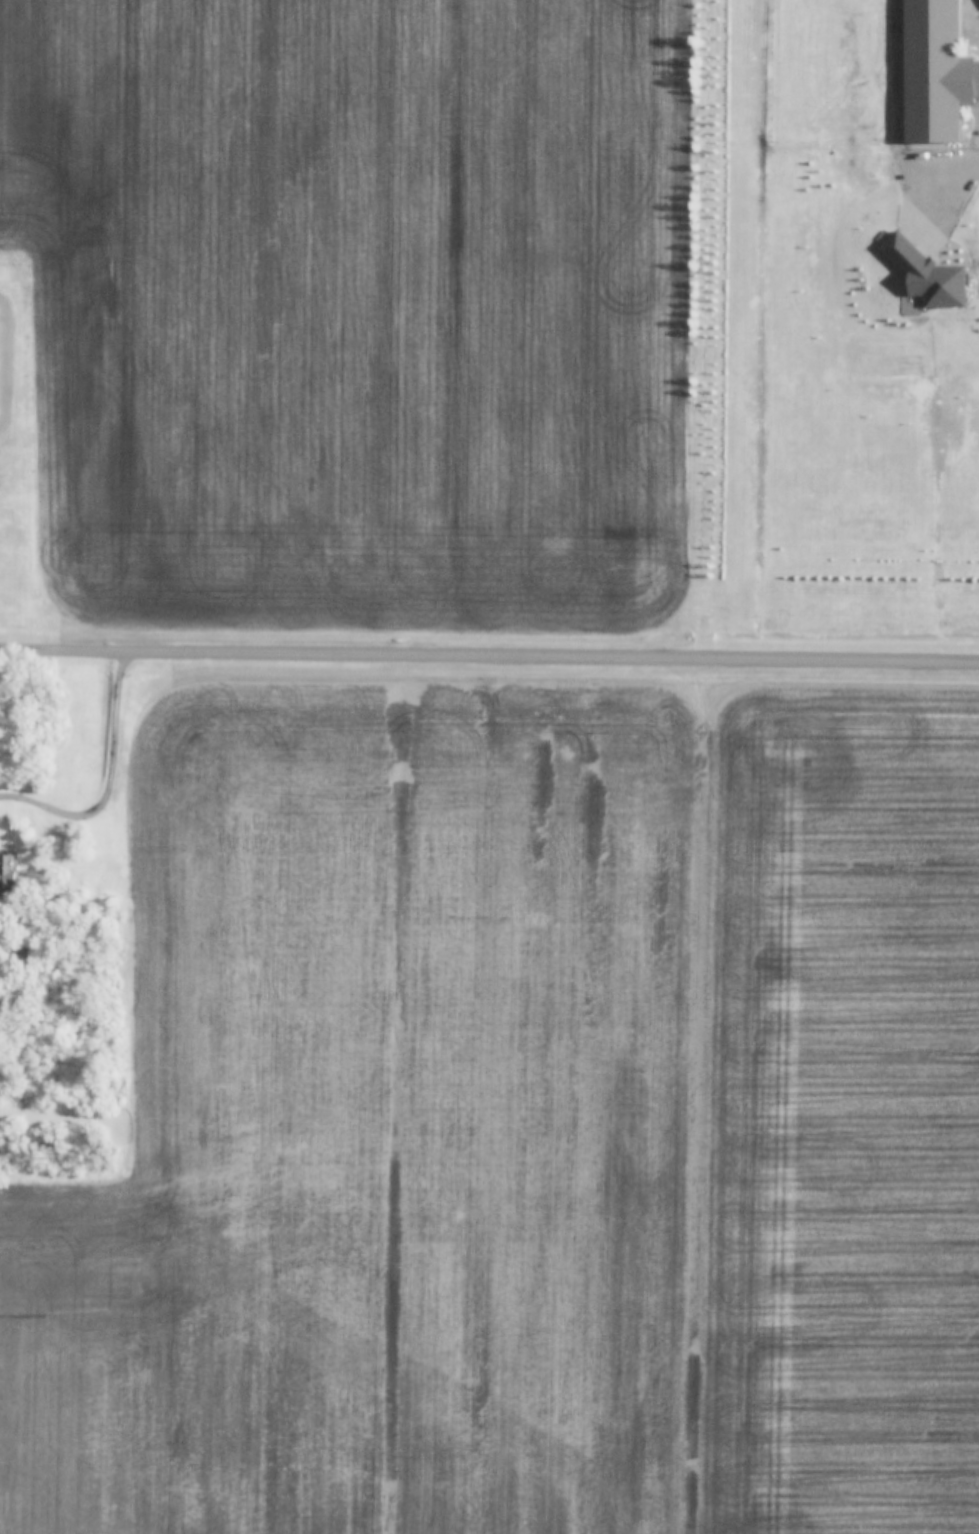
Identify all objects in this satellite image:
building: (937, 72)
road: (954, 161)
road: (489, 653)
road: (112, 780)
building: (7, 874)

